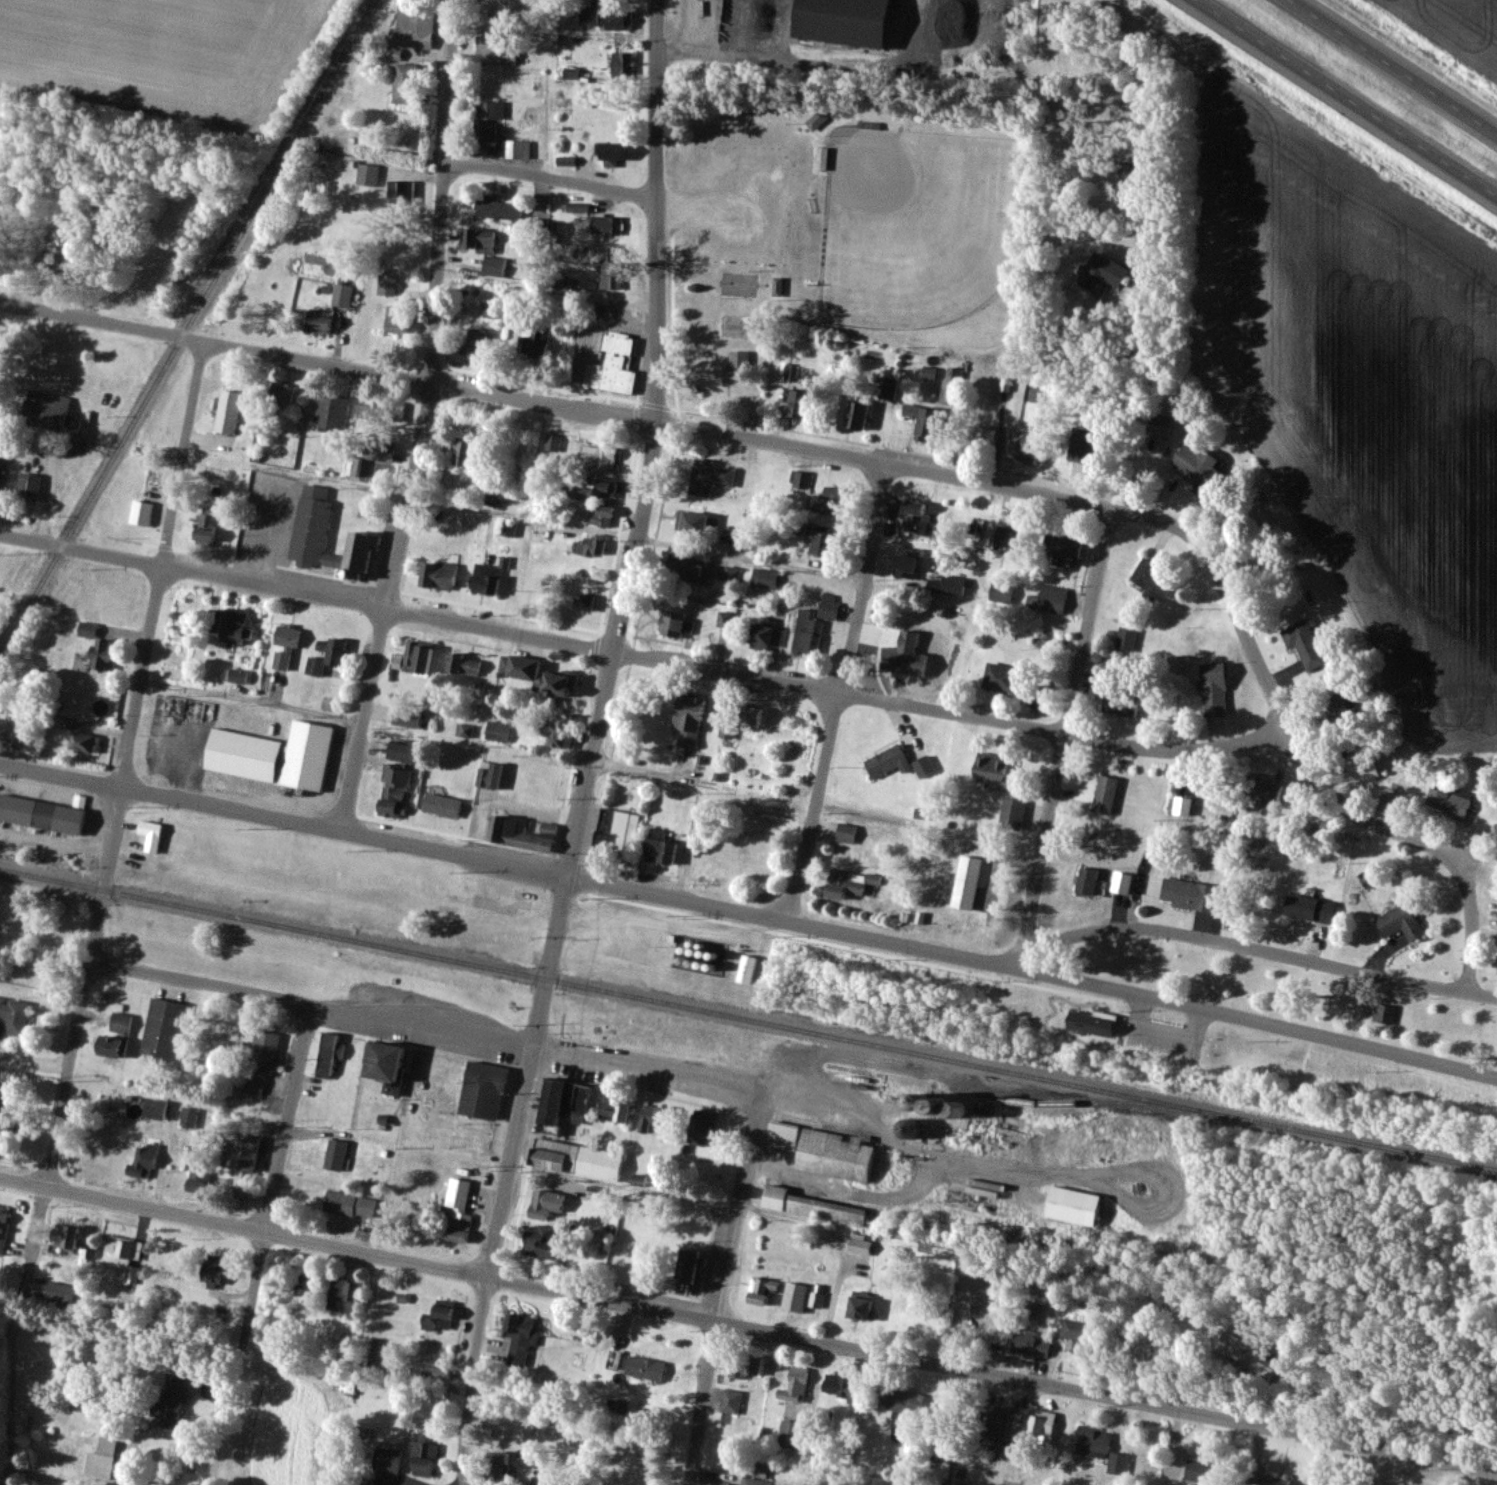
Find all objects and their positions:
building: (587, 15)
building: (841, 21)
building: (413, 25)
building: (484, 47)
building: (622, 63)
road: (1393, 67)
road: (450, 77)
building: (403, 83)
road: (1346, 98)
building: (488, 110)
building: (484, 132)
building: (517, 149)
building: (609, 151)
building: (564, 160)
building: (367, 175)
road: (550, 177)
building: (497, 208)
park: (911, 220)
building: (63, 222)
building: (605, 225)
building: (482, 249)
road: (437, 270)
building: (610, 277)
building: (341, 296)
building: (487, 309)
building: (395, 319)
building: (314, 321)
railway: (185, 324)
road: (653, 327)
building: (533, 342)
road: (214, 343)
building: (476, 346)
building: (611, 366)
building: (738, 369)
building: (951, 385)
building: (886, 387)
building: (279, 395)
building: (796, 404)
building: (48, 409)
building: (373, 410)
building: (226, 412)
road: (1137, 412)
building: (330, 413)
building: (855, 415)
building: (922, 419)
building: (1159, 424)
building: (980, 441)
building: (1082, 445)
building: (1028, 448)
building: (378, 450)
building: (462, 452)
road: (183, 453)
building: (3, 457)
building: (599, 457)
building: (1196, 467)
building: (709, 477)
building: (596, 486)
building: (27, 487)
building: (830, 501)
road: (1093, 502)
building: (140, 513)
building: (600, 515)
building: (312, 516)
building: (915, 518)
building: (691, 522)
building: (204, 529)
building: (507, 529)
building: (536, 533)
building: (1008, 536)
building: (822, 545)
building: (590, 546)
building: (905, 563)
building: (693, 570)
building: (731, 574)
building: (435, 576)
road: (866, 577)
building: (764, 578)
building: (1150, 578)
building: (945, 585)
building: (996, 592)
road: (307, 593)
building: (1047, 598)
building: (583, 602)
road: (388, 606)
building: (675, 623)
building: (813, 624)
building: (233, 627)
building: (765, 635)
building: (1125, 639)
building: (1303, 645)
building: (283, 646)
building: (97, 649)
building: (326, 658)
building: (416, 658)
building: (893, 658)
building: (463, 664)
building: (912, 665)
road: (141, 675)
building: (537, 675)
building: (1001, 679)
building: (1213, 689)
road: (838, 690)
road: (252, 699)
building: (1036, 699)
building: (1118, 705)
building: (1334, 710)
building: (750, 718)
building: (685, 726)
building: (498, 730)
building: (558, 731)
road: (1061, 735)
building: (82, 742)
road: (1173, 749)
building: (272, 755)
building: (886, 761)
road: (590, 764)
building: (922, 766)
building: (989, 769)
building: (1361, 769)
building: (489, 776)
building: (1263, 790)
building: (392, 791)
building: (1103, 795)
building: (1447, 802)
building: (441, 804)
road: (815, 806)
building: (43, 814)
road: (283, 816)
building: (1495, 827)
building: (614, 832)
building: (845, 832)
building: (520, 833)
building: (659, 851)
building: (1085, 882)
building: (852, 884)
building: (1121, 884)
building: (1188, 895)
road: (676, 899)
building: (1309, 909)
building: (1398, 922)
road: (890, 941)
road: (1251, 948)
road: (549, 963)
building: (745, 969)
road: (87, 985)
railway: (749, 1014)
building: (1382, 1014)
building: (13, 1015)
road: (1244, 1019)
building: (163, 1028)
road: (424, 1029)
building: (114, 1036)
building: (328, 1053)
road: (35, 1058)
building: (260, 1059)
building: (381, 1059)
building: (482, 1088)
building: (562, 1101)
building: (148, 1108)
building: (613, 1109)
building: (651, 1115)
building: (187, 1117)
road: (287, 1119)
building: (905, 1126)
building: (697, 1130)
building: (781, 1134)
building: (240, 1151)
road: (926, 1151)
building: (833, 1154)
building: (575, 1158)
building: (142, 1161)
building: (198, 1176)
road: (850, 1186)
building: (348, 1203)
building: (544, 1204)
building: (810, 1205)
building: (1072, 1205)
building: (458, 1210)
building: (3, 1224)
road: (242, 1226)
building: (62, 1235)
building: (538, 1244)
road: (487, 1266)
building: (211, 1268)
building: (682, 1271)
building: (303, 1285)
road: (714, 1288)
building: (758, 1289)
building: (342, 1294)
building: (793, 1296)
building: (816, 1299)
building: (858, 1307)
building: (437, 1316)
building: (1077, 1334)
building: (518, 1337)
building: (1028, 1343)
road: (12, 1344)
building: (369, 1351)
building: (1245, 1353)
road: (1389, 1361)
building: (748, 1366)
building: (643, 1367)
road: (235, 1368)
road: (991, 1373)
building: (796, 1382)
building: (844, 1389)
building: (730, 1400)
building: (909, 1402)
building: (168, 1403)
building: (947, 1409)
building: (992, 1420)
building: (1039, 1429)
building: (790, 1434)
building: (1091, 1441)
building: (424, 1453)
building: (103, 1457)
building: (386, 1460)
building: (1116, 1463)
building: (500, 1468)
building: (1198, 1470)
building: (1273, 1480)
building: (537, 1481)

